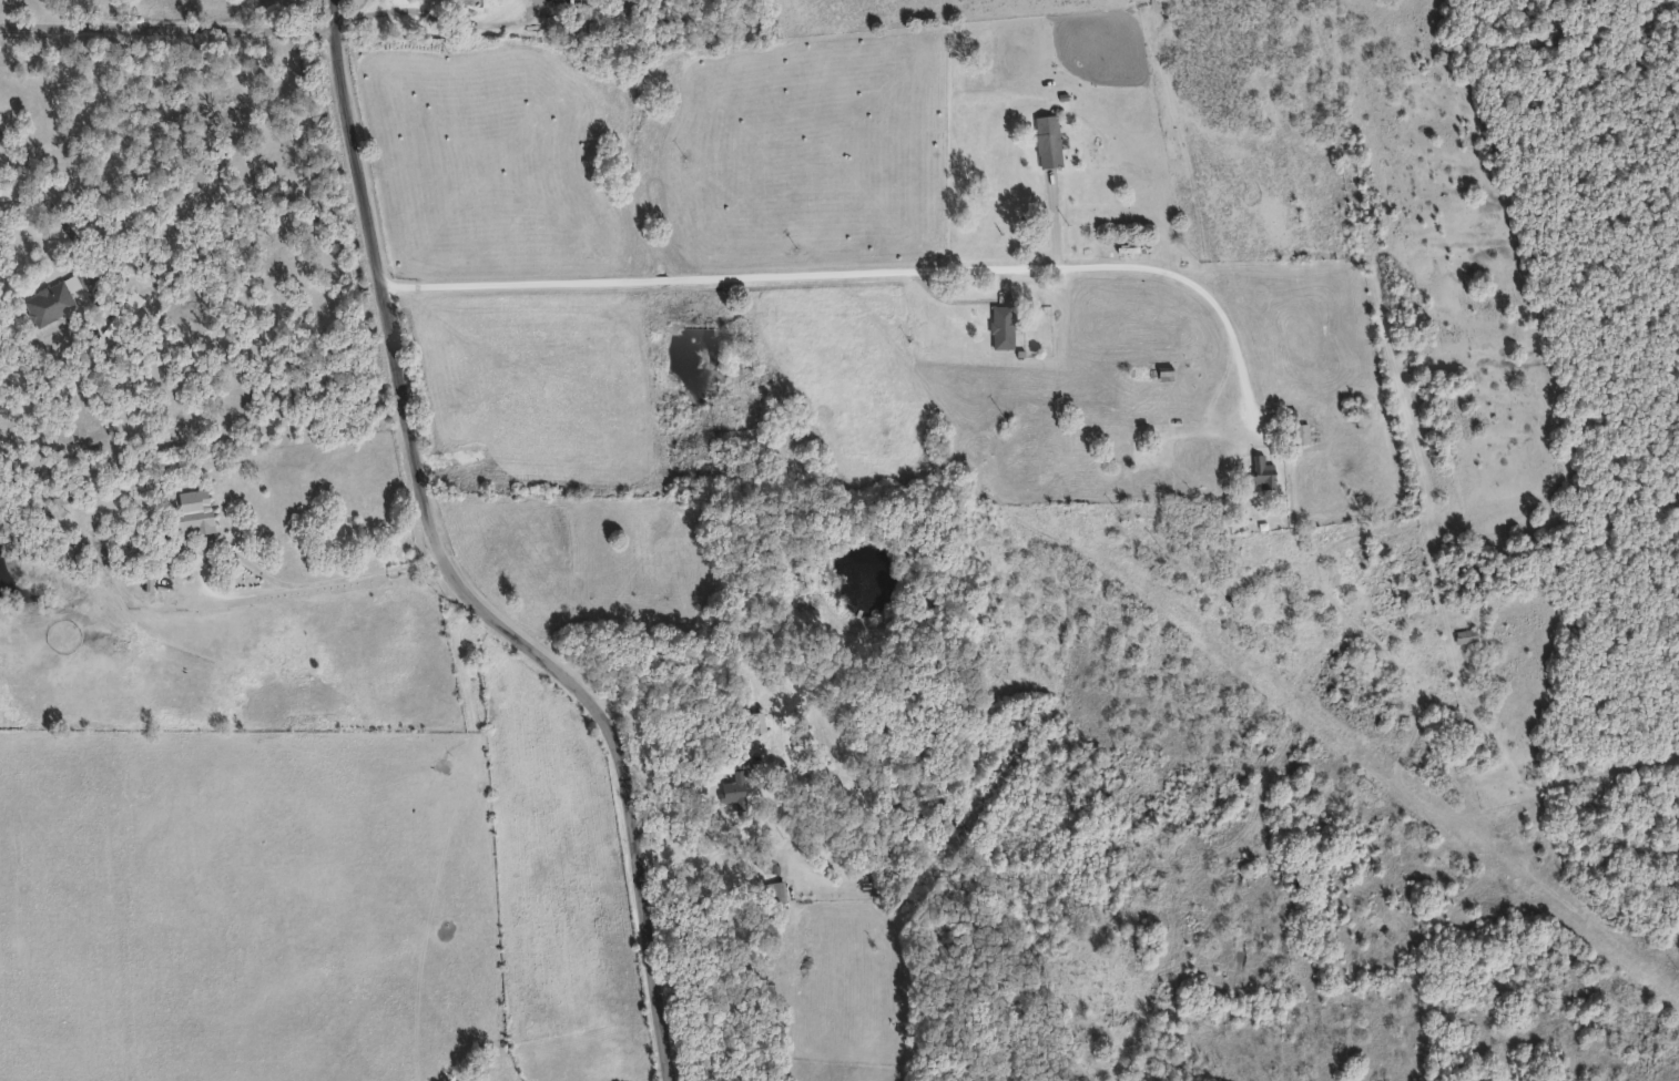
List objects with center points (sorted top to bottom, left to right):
building: (584, 2)
road: (0, 13)
road: (439, 13)
road: (84, 14)
road: (170, 29)
building: (1050, 141)
road: (47, 196)
road: (874, 268)
building: (51, 303)
building: (1005, 326)
building: (1302, 434)
building: (1266, 472)
building: (63, 494)
building: (195, 508)
road: (455, 570)
road: (342, 578)
building: (1467, 634)
building: (739, 777)
building: (779, 891)

